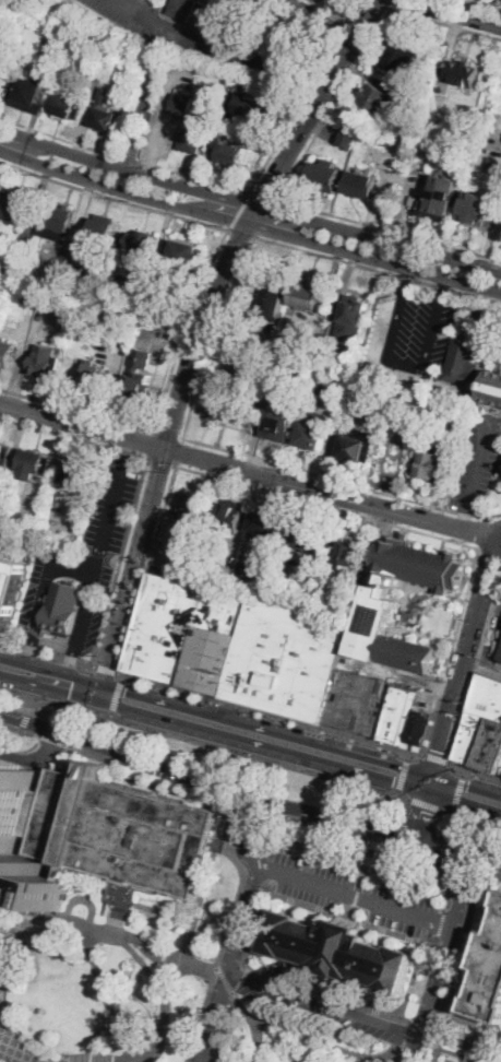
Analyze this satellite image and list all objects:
road: (392, 3)
road: (484, 4)
road: (2, 5)
building: (182, 9)
road: (457, 11)
road: (9, 21)
road: (445, 22)
parking lot: (198, 34)
road: (194, 37)
park: (206, 38)
building: (52, 45)
building: (399, 54)
building: (111, 55)
road: (307, 69)
building: (460, 72)
building: (27, 94)
road: (305, 95)
road: (143, 96)
building: (377, 96)
road: (333, 102)
building: (70, 106)
building: (255, 107)
building: (107, 114)
building: (188, 121)
building: (386, 138)
building: (350, 140)
building: (443, 143)
building: (231, 152)
road: (123, 156)
building: (493, 164)
building: (324, 175)
building: (360, 184)
building: (0, 187)
building: (0, 190)
road: (263, 194)
road: (112, 198)
building: (440, 199)
road: (249, 201)
building: (14, 206)
building: (478, 209)
road: (239, 210)
road: (253, 215)
building: (56, 223)
road: (249, 223)
road: (389, 228)
building: (99, 232)
road: (241, 232)
building: (139, 240)
building: (187, 253)
road: (378, 269)
road: (408, 273)
building: (55, 283)
road: (445, 284)
building: (28, 297)
building: (307, 297)
building: (271, 298)
building: (139, 299)
building: (52, 304)
building: (153, 309)
building: (351, 318)
parking lot: (418, 328)
building: (123, 334)
building: (5, 353)
building: (44, 361)
road: (405, 364)
building: (472, 371)
building: (94, 375)
building: (138, 376)
building: (339, 381)
building: (469, 392)
road: (163, 404)
building: (229, 404)
building: (281, 417)
building: (456, 421)
road: (82, 426)
building: (312, 433)
road: (169, 435)
road: (74, 438)
building: (358, 445)
road: (153, 446)
road: (237, 451)
road: (178, 452)
building: (4, 457)
parking lot: (476, 461)
road: (478, 461)
road: (162, 463)
building: (34, 464)
building: (500, 464)
building: (433, 465)
building: (76, 474)
road: (333, 494)
road: (111, 506)
building: (192, 514)
building: (229, 515)
road: (462, 517)
building: (10, 518)
road: (162, 518)
building: (262, 523)
road: (407, 529)
road: (484, 532)
building: (309, 539)
building: (347, 553)
parking lot: (83, 558)
road: (121, 563)
building: (275, 563)
building: (247, 569)
road: (132, 575)
building: (9, 590)
road: (46, 593)
building: (281, 595)
road: (84, 605)
building: (63, 606)
building: (344, 609)
road: (36, 612)
building: (374, 616)
road: (133, 621)
road: (487, 633)
building: (186, 634)
road: (48, 654)
building: (500, 658)
building: (285, 660)
parking lot: (285, 660)
road: (463, 661)
road: (482, 665)
road: (33, 666)
road: (106, 669)
road: (122, 677)
road: (112, 687)
traffic signals: (127, 692)
traffic signals: (70, 694)
road: (116, 697)
road: (33, 698)
building: (357, 701)
road: (257, 708)
road: (230, 709)
road: (110, 713)
road: (270, 713)
road: (5, 715)
building: (397, 715)
road: (291, 717)
road: (463, 717)
road: (5, 718)
road: (26, 718)
road: (295, 718)
building: (480, 718)
road: (237, 721)
road: (311, 722)
building: (417, 728)
road: (11, 732)
road: (214, 732)
road: (431, 732)
road: (204, 741)
road: (50, 746)
building: (491, 747)
traffic signals: (439, 751)
road: (360, 755)
road: (407, 755)
road: (438, 759)
road: (112, 763)
building: (500, 769)
road: (419, 770)
road: (475, 771)
road: (464, 772)
road: (403, 774)
traffic signals: (393, 781)
road: (431, 782)
road: (466, 784)
traffic signals: (467, 786)
road: (211, 787)
road: (397, 791)
road: (458, 791)
road: (464, 802)
road: (427, 803)
road: (453, 809)
traffic signals: (425, 811)
road: (424, 813)
road: (473, 815)
road: (382, 817)
building: (12, 819)
building: (466, 819)
building: (119, 831)
road: (244, 834)
road: (454, 838)
road: (225, 847)
building: (389, 848)
road: (456, 849)
road: (283, 850)
road: (442, 852)
road: (457, 852)
road: (370, 853)
road: (450, 865)
road: (205, 885)
road: (358, 890)
road: (456, 890)
parking lot: (350, 893)
road: (354, 898)
building: (1, 900)
road: (122, 901)
road: (37, 912)
road: (168, 913)
road: (115, 930)
road: (107, 931)
road: (226, 931)
road: (440, 932)
road: (226, 939)
building: (339, 951)
road: (460, 961)
road: (206, 965)
road: (228, 965)
road: (146, 967)
building: (487, 973)
road: (241, 981)
road: (1, 988)
road: (431, 994)
road: (105, 995)
road: (321, 1003)
road: (164, 1012)
road: (401, 1016)
road: (406, 1029)
park: (291, 1037)
road: (319, 1039)
road: (255, 1042)
road: (458, 1045)
road: (325, 1053)
road: (387, 1057)

